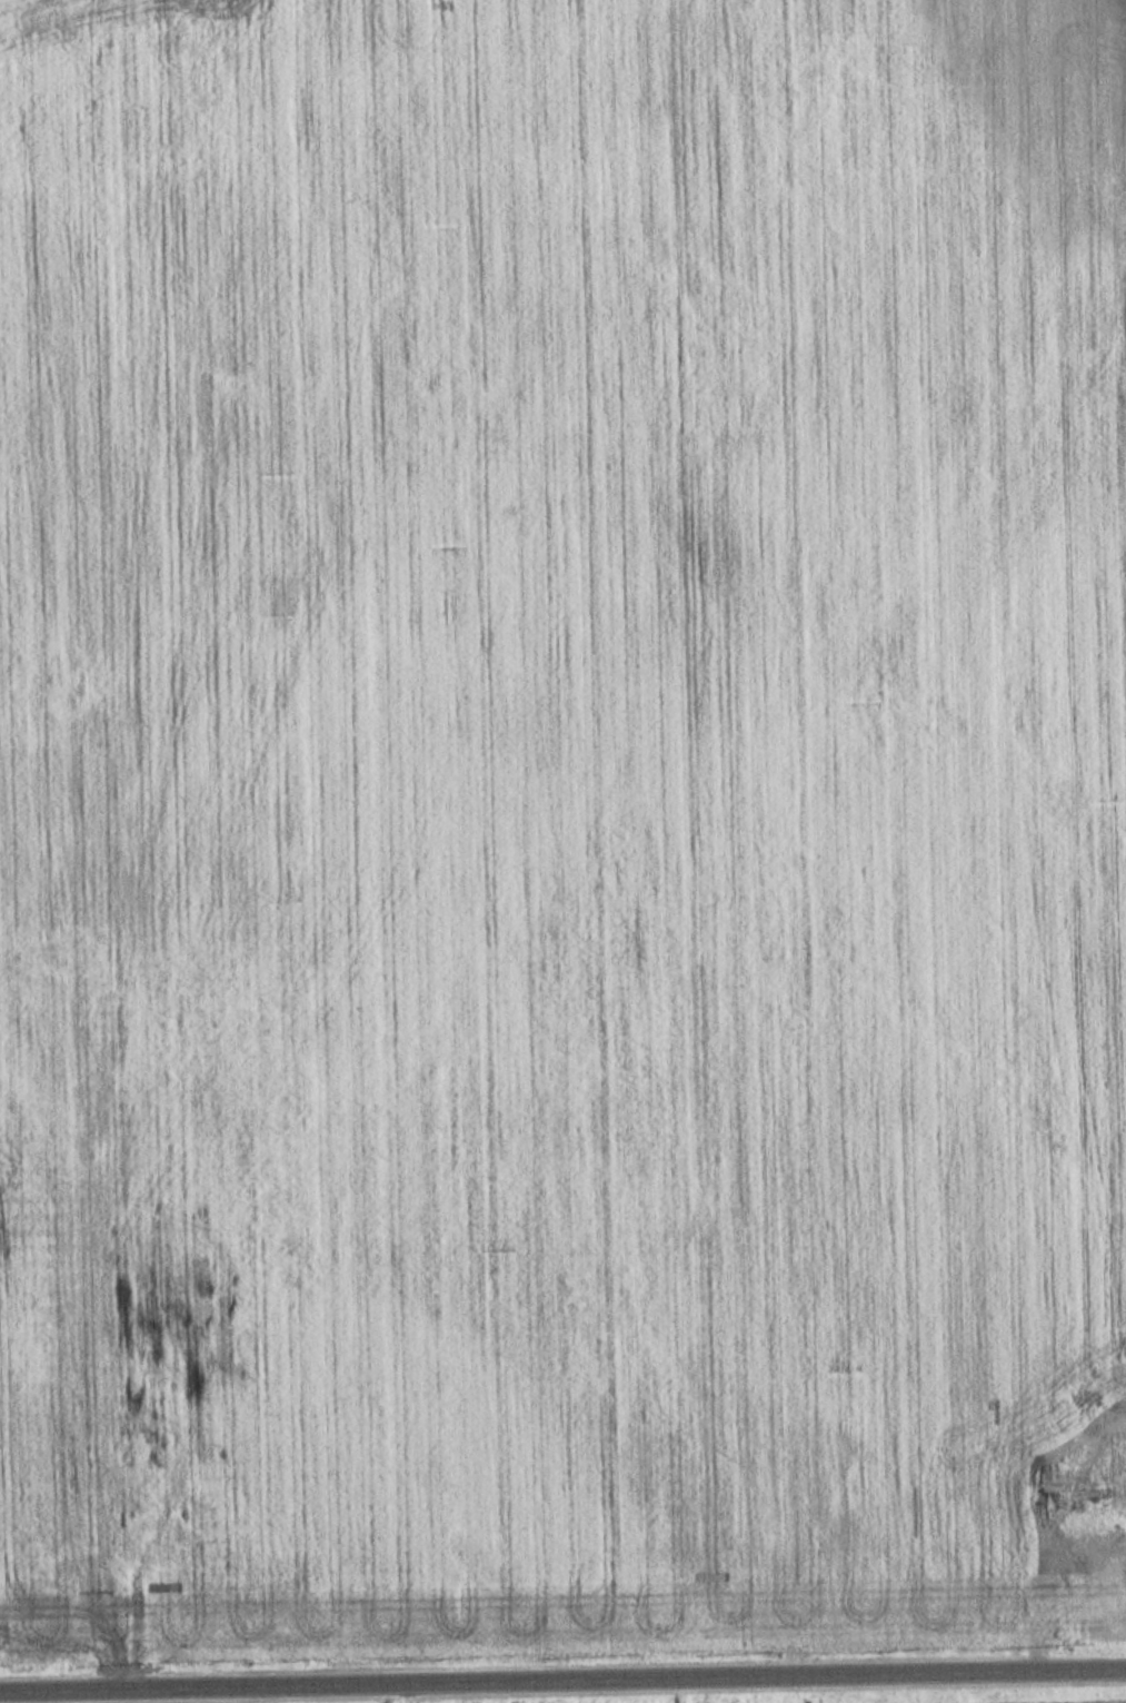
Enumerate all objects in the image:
building: (1123, 1481)
building: (1100, 1590)
building: (96, 1615)
road: (562, 1682)

